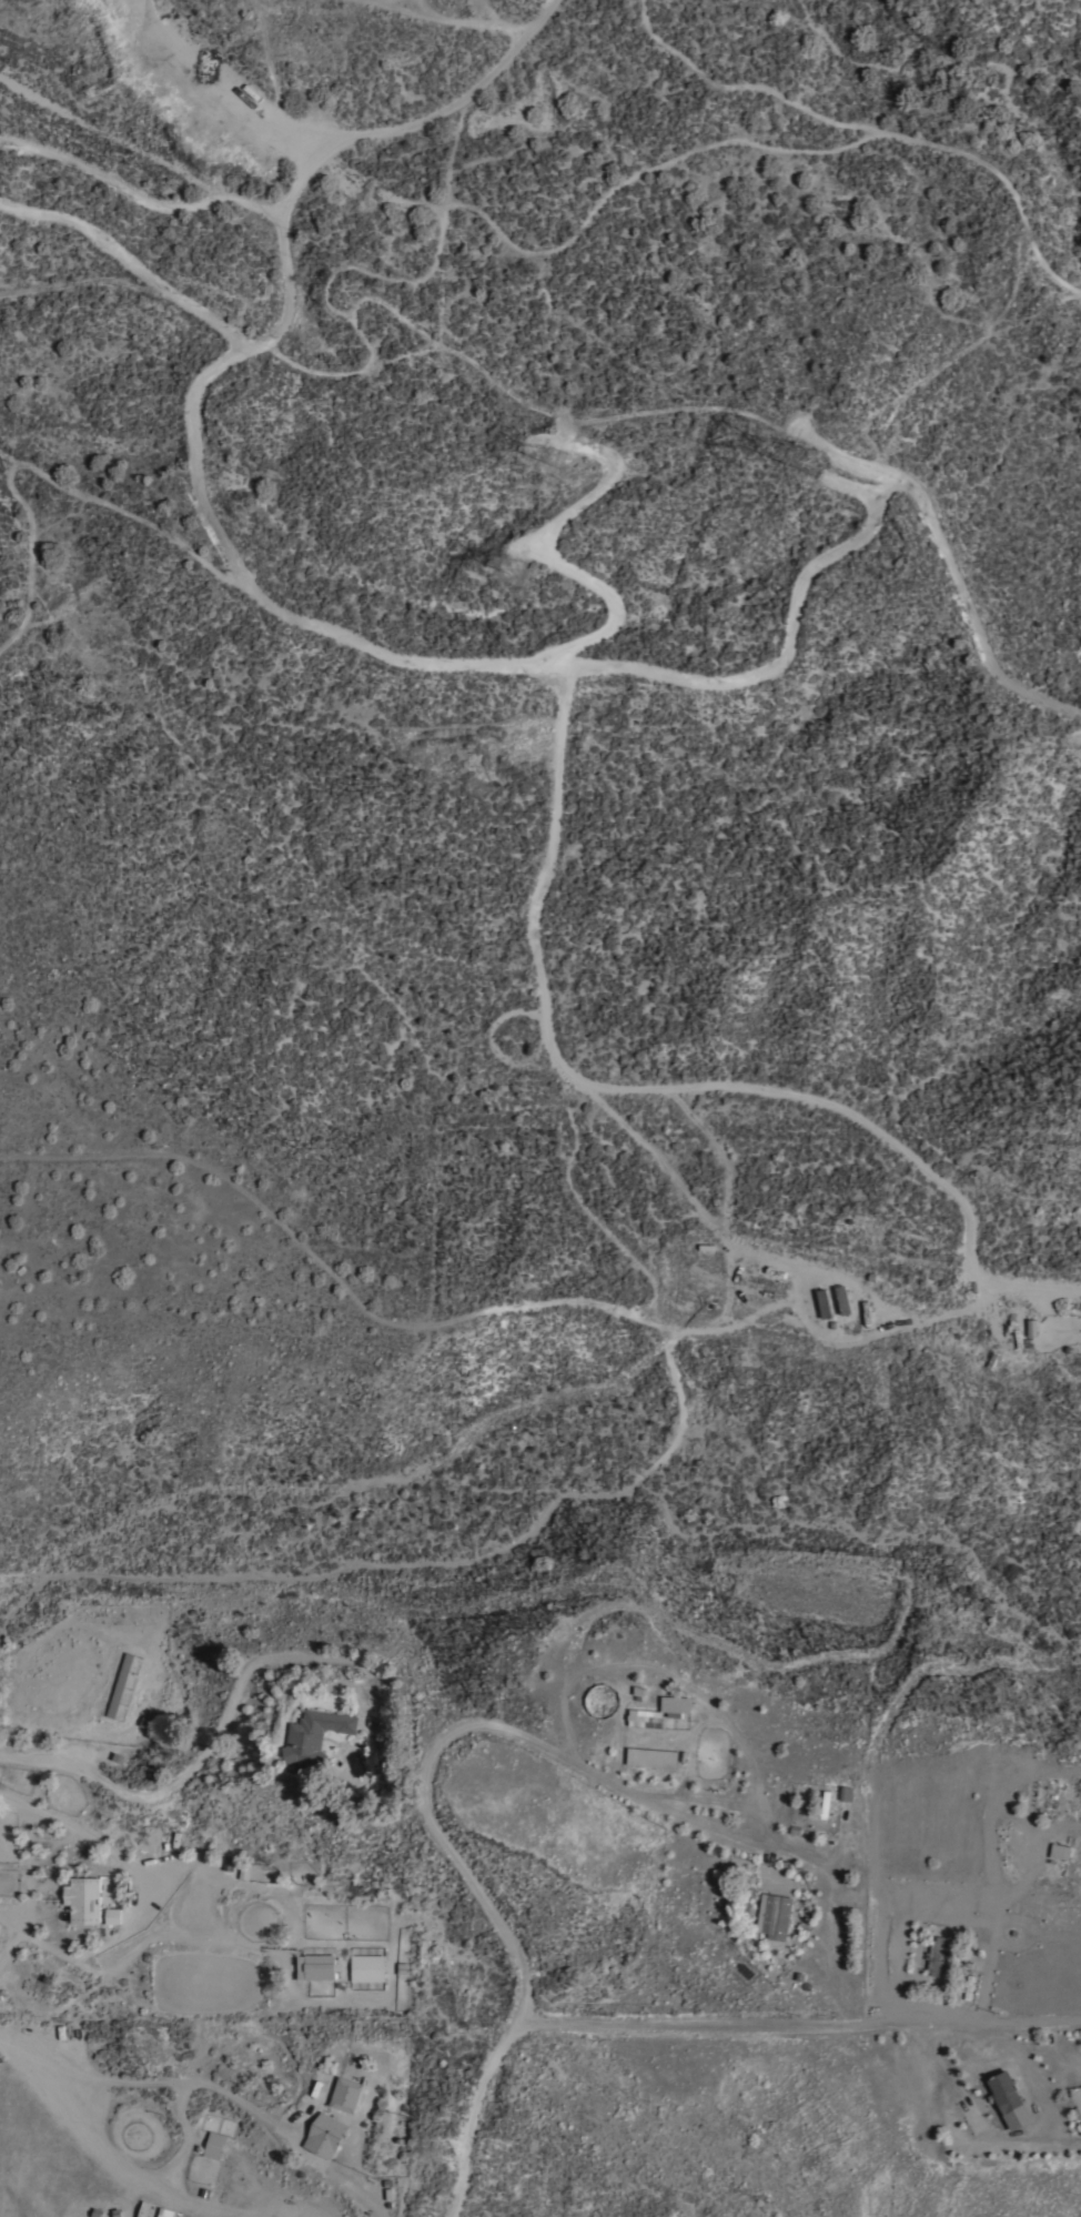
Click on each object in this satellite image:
road: (448, 19)
road: (847, 57)
road: (222, 84)
road: (141, 199)
road: (598, 422)
power tower: (802, 455)
power tower: (554, 460)
power tower: (498, 566)
road: (477, 664)
road: (765, 1257)
building: (843, 1300)
building: (825, 1303)
road: (413, 1562)
road: (765, 1661)
road: (569, 1662)
building: (120, 1686)
building: (676, 1706)
building: (645, 1719)
road: (465, 1727)
road: (218, 1733)
building: (314, 1737)
building: (653, 1759)
building: (1058, 1852)
building: (83, 1901)
building: (775, 1916)
building: (113, 1917)
building: (939, 1958)
building: (316, 1968)
building: (367, 1969)
road: (794, 2027)
road: (230, 2093)
building: (1004, 2093)
building: (346, 2096)
building: (326, 2137)
road: (185, 2140)
building: (214, 2146)
road: (114, 2164)
building: (152, 2210)

